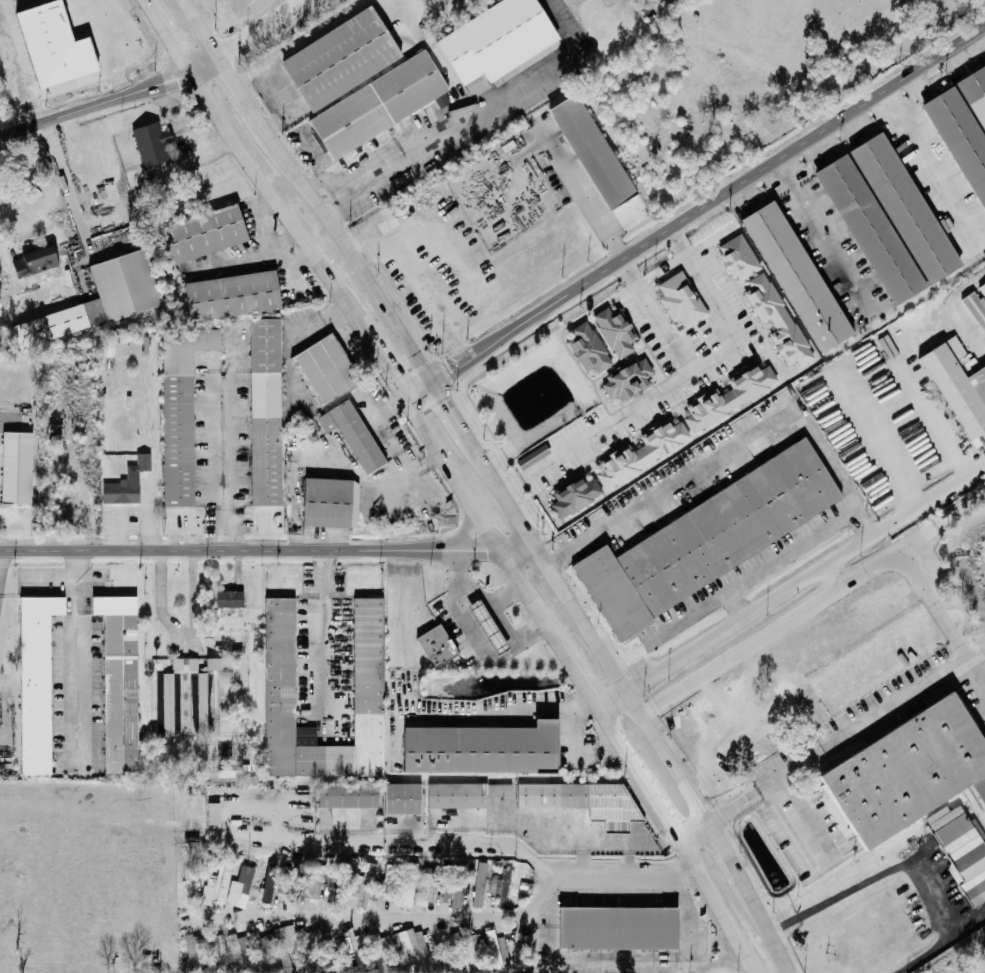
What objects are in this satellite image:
road: (144, 2)
road: (407, 5)
road: (99, 29)
road: (259, 29)
road: (197, 31)
road: (168, 39)
building: (494, 39)
road: (302, 43)
building: (56, 47)
building: (338, 58)
road: (237, 92)
building: (974, 93)
road: (108, 99)
building: (377, 105)
road: (483, 115)
building: (958, 138)
building: (152, 145)
building: (590, 152)
road: (310, 155)
road: (928, 163)
road: (64, 181)
road: (332, 189)
road: (271, 199)
road: (583, 200)
road: (708, 205)
building: (903, 208)
building: (869, 230)
building: (206, 233)
road: (825, 235)
road: (27, 237)
road: (676, 239)
road: (275, 241)
road: (347, 251)
road: (247, 255)
road: (689, 258)
building: (739, 258)
building: (36, 261)
building: (795, 274)
road: (415, 282)
building: (234, 295)
building: (110, 296)
building: (682, 300)
building: (977, 306)
building: (777, 319)
building: (616, 331)
building: (589, 348)
road: (380, 362)
road: (696, 369)
building: (325, 372)
building: (628, 382)
traffic signals: (431, 383)
building: (957, 384)
road: (417, 391)
building: (731, 396)
traffic signals: (404, 399)
building: (180, 411)
building: (265, 413)
road: (623, 416)
road: (453, 420)
road: (933, 421)
building: (352, 436)
road: (885, 447)
road: (230, 449)
building: (643, 454)
road: (733, 455)
building: (533, 457)
building: (142, 458)
building: (18, 468)
road: (542, 468)
road: (513, 486)
building: (120, 493)
building: (575, 498)
road: (501, 499)
building: (330, 504)
road: (146, 518)
road: (943, 521)
building: (725, 525)
road: (485, 528)
road: (119, 532)
road: (264, 551)
road: (778, 560)
road: (545, 572)
road: (835, 575)
road: (806, 578)
road: (470, 581)
road: (3, 588)
building: (610, 592)
building: (228, 599)
road: (812, 605)
road: (493, 610)
road: (687, 620)
building: (488, 627)
road: (183, 632)
road: (330, 639)
road: (476, 640)
building: (436, 647)
road: (963, 648)
road: (84, 652)
building: (214, 664)
building: (367, 673)
road: (963, 676)
building: (35, 681)
building: (118, 682)
road: (581, 683)
building: (184, 700)
road: (611, 701)
road: (499, 711)
road: (636, 712)
road: (862, 731)
building: (482, 750)
building: (906, 771)
building: (464, 795)
building: (347, 796)
building: (402, 799)
building: (584, 802)
building: (214, 814)
road: (720, 817)
road: (675, 839)
road: (488, 844)
building: (959, 850)
road: (719, 855)
road: (829, 863)
road: (905, 871)
building: (244, 876)
building: (221, 881)
building: (386, 881)
building: (503, 882)
building: (268, 884)
building: (340, 884)
building: (289, 885)
building: (312, 885)
building: (409, 885)
building: (479, 885)
building: (364, 886)
building: (455, 887)
building: (429, 888)
building: (258, 889)
building: (332, 891)
road: (381, 917)
road: (760, 928)
building: (618, 929)
building: (315, 938)
building: (385, 944)
building: (328, 946)
building: (280, 948)
building: (421, 948)
building: (236, 949)
building: (445, 949)
building: (469, 949)
building: (191, 950)
building: (211, 950)
building: (400, 950)
building: (493, 950)
building: (304, 951)
building: (377, 951)
building: (258, 952)
building: (351, 952)

